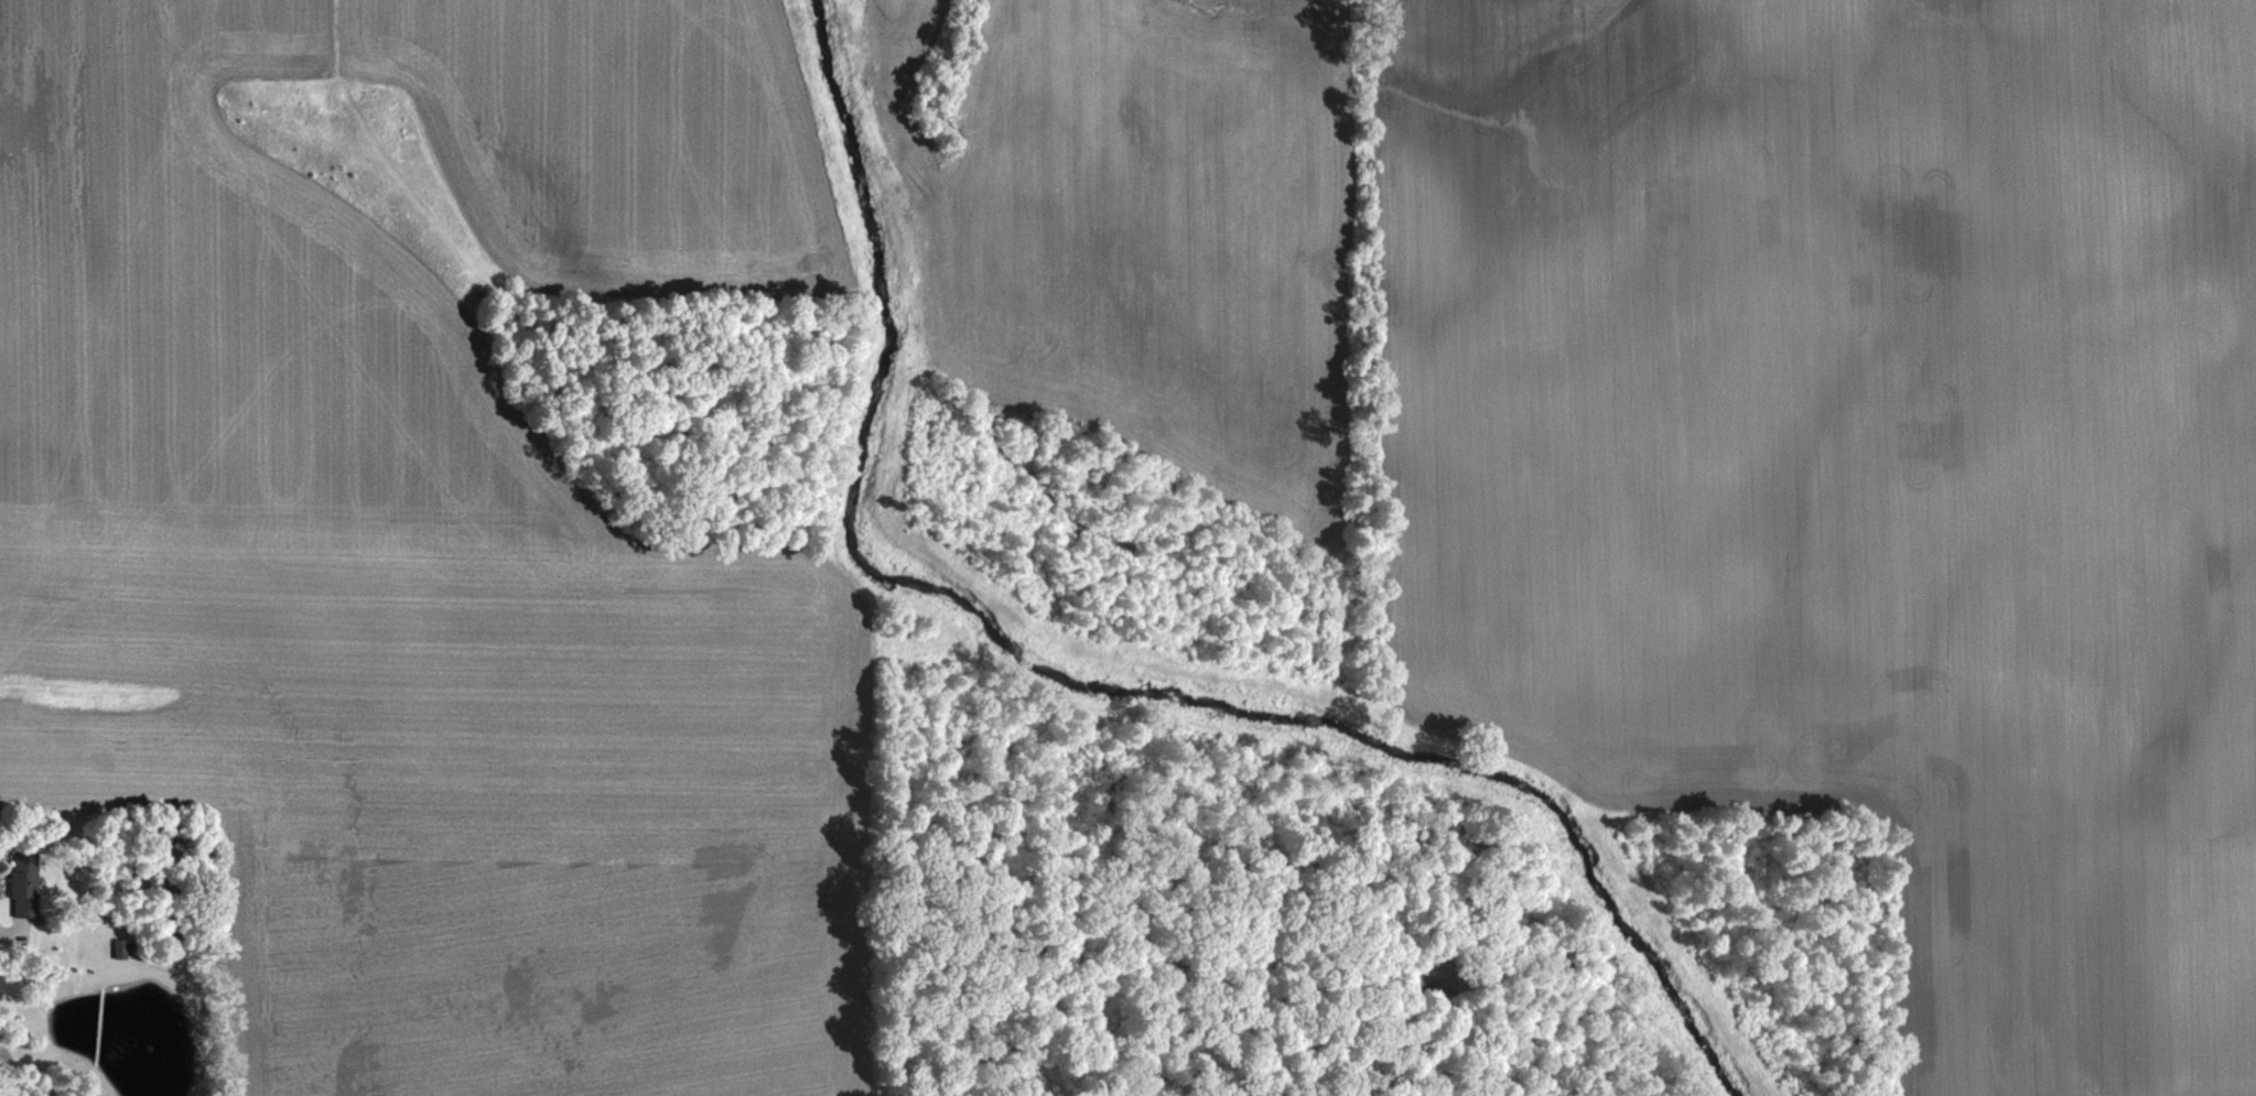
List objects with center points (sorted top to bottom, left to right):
building: (26, 886)

